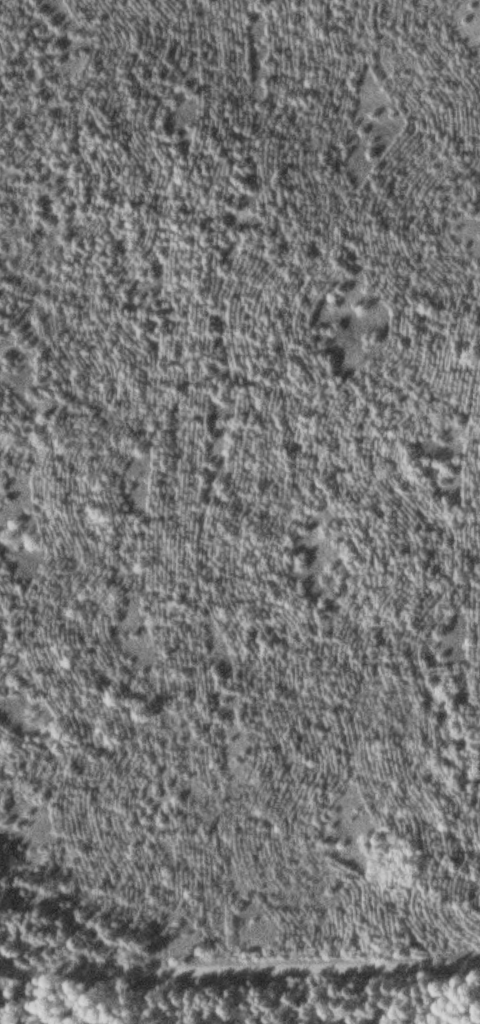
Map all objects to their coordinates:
road: (240, 967)

